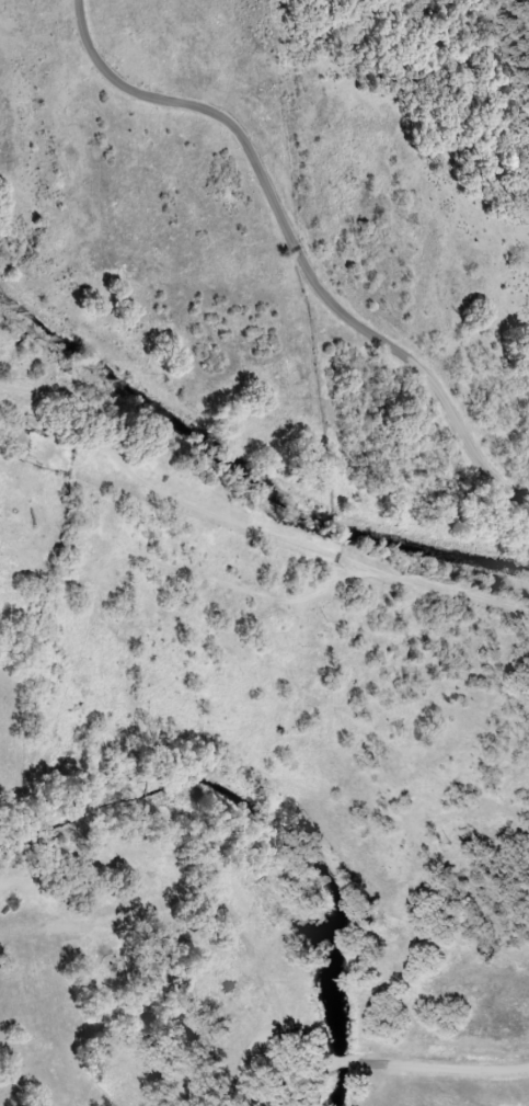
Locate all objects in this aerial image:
road: (298, 243)

